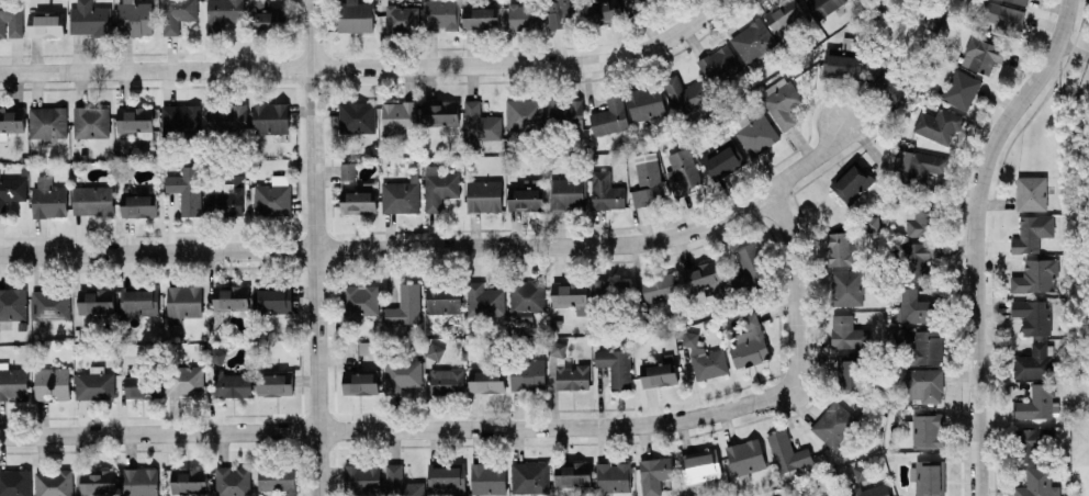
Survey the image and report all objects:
building: (390, 0)
building: (1020, 1)
building: (632, 2)
building: (823, 5)
building: (604, 10)
building: (562, 13)
building: (783, 13)
building: (177, 14)
building: (270, 14)
building: (440, 14)
building: (223, 15)
building: (355, 15)
building: (525, 15)
building: (479, 16)
building: (89, 18)
building: (135, 18)
building: (402, 18)
building: (11, 19)
building: (932, 19)
building: (1002, 19)
building: (45, 24)
building: (753, 42)
road: (1073, 53)
building: (981, 55)
building: (719, 64)
building: (839, 64)
road: (370, 66)
building: (889, 87)
building: (961, 89)
building: (687, 94)
building: (781, 101)
building: (645, 102)
building: (564, 110)
building: (440, 113)
building: (524, 113)
building: (609, 115)
building: (357, 116)
building: (398, 116)
building: (270, 117)
building: (11, 119)
building: (226, 119)
building: (135, 120)
building: (47, 121)
building: (180, 121)
building: (91, 122)
building: (936, 124)
building: (479, 125)
building: (755, 133)
building: (721, 158)
building: (921, 168)
building: (348, 170)
building: (682, 171)
building: (647, 178)
building: (851, 182)
building: (439, 187)
building: (186, 189)
building: (11, 191)
building: (605, 191)
building: (566, 192)
building: (1030, 192)
building: (272, 195)
building: (401, 195)
building: (484, 195)
building: (47, 198)
building: (525, 198)
building: (92, 200)
building: (225, 201)
building: (357, 201)
building: (137, 204)
building: (922, 221)
building: (868, 223)
building: (1031, 233)
road: (977, 236)
road: (441, 247)
road: (314, 248)
building: (839, 248)
building: (752, 263)
building: (1035, 274)
building: (703, 278)
building: (847, 286)
building: (658, 288)
road: (796, 289)
building: (613, 290)
building: (570, 294)
building: (231, 296)
building: (442, 297)
building: (272, 298)
building: (360, 298)
building: (526, 298)
building: (96, 300)
building: (484, 300)
building: (183, 301)
building: (138, 302)
building: (13, 303)
building: (49, 304)
building: (405, 305)
building: (913, 306)
building: (1032, 315)
building: (847, 332)
building: (749, 342)
building: (927, 346)
building: (367, 347)
building: (557, 348)
building: (433, 350)
building: (217, 354)
building: (704, 357)
building: (1033, 361)
building: (615, 365)
building: (527, 373)
building: (401, 374)
building: (659, 374)
building: (850, 374)
building: (572, 376)
building: (447, 380)
building: (52, 381)
building: (487, 381)
building: (12, 382)
building: (177, 382)
building: (274, 382)
building: (360, 382)
building: (93, 383)
building: (232, 384)
building: (924, 384)
building: (134, 386)
building: (1035, 403)
building: (833, 424)
road: (402, 429)
building: (927, 430)
building: (1031, 444)
building: (787, 451)
building: (744, 456)
building: (699, 465)
building: (861, 471)
building: (572, 473)
building: (653, 474)
building: (613, 475)
building: (361, 476)
building: (530, 476)
building: (487, 477)
building: (929, 477)
building: (277, 478)
building: (446, 478)
building: (189, 480)
building: (98, 481)
building: (232, 481)
building: (15, 482)
building: (53, 482)
building: (139, 482)
building: (401, 482)
building: (1036, 483)
building: (871, 491)

